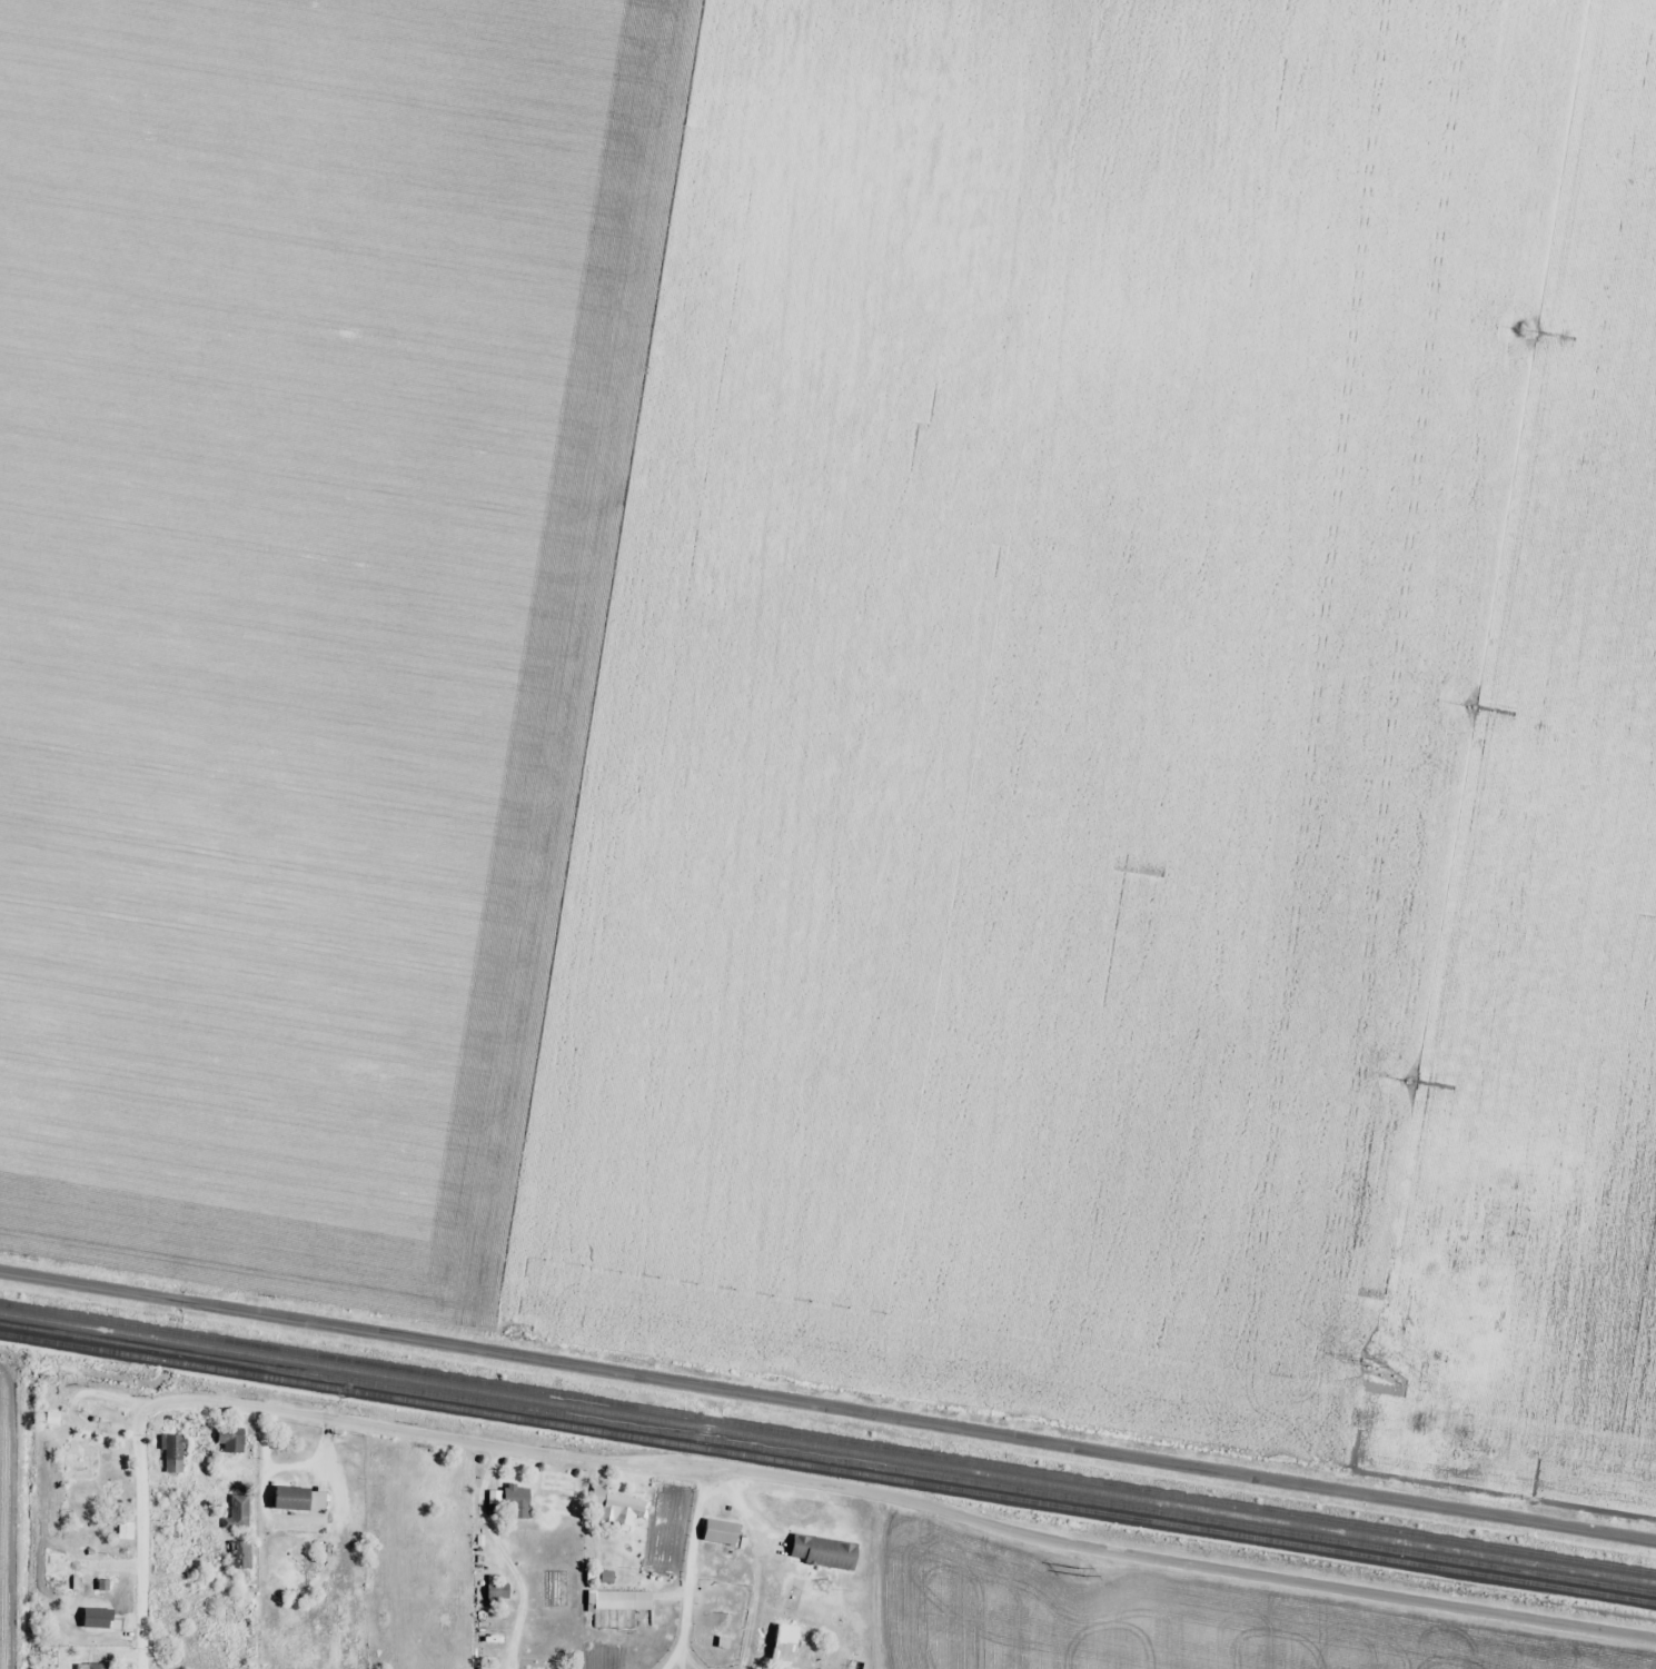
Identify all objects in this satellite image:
power tower: (1528, 331)
crop: (855, 692)
power tower: (1469, 705)
power tower: (1409, 1081)
building: (1479, 1297)
power tower: (1367, 1360)
road: (827, 1407)
road: (424, 1433)
building: (230, 1441)
railway: (827, 1444)
building: (173, 1453)
railway: (827, 1457)
building: (79, 1459)
road: (710, 1472)
building: (292, 1498)
building: (518, 1503)
building: (615, 1507)
building: (175, 1511)
building: (239, 1512)
building: (722, 1532)
road: (141, 1540)
building: (815, 1541)
building: (241, 1554)
building: (57, 1567)
road: (1178, 1568)
power tower: (1080, 1571)
building: (498, 1589)
building: (621, 1600)
road: (673, 1656)
building: (97, 1666)
building: (334, 1666)

